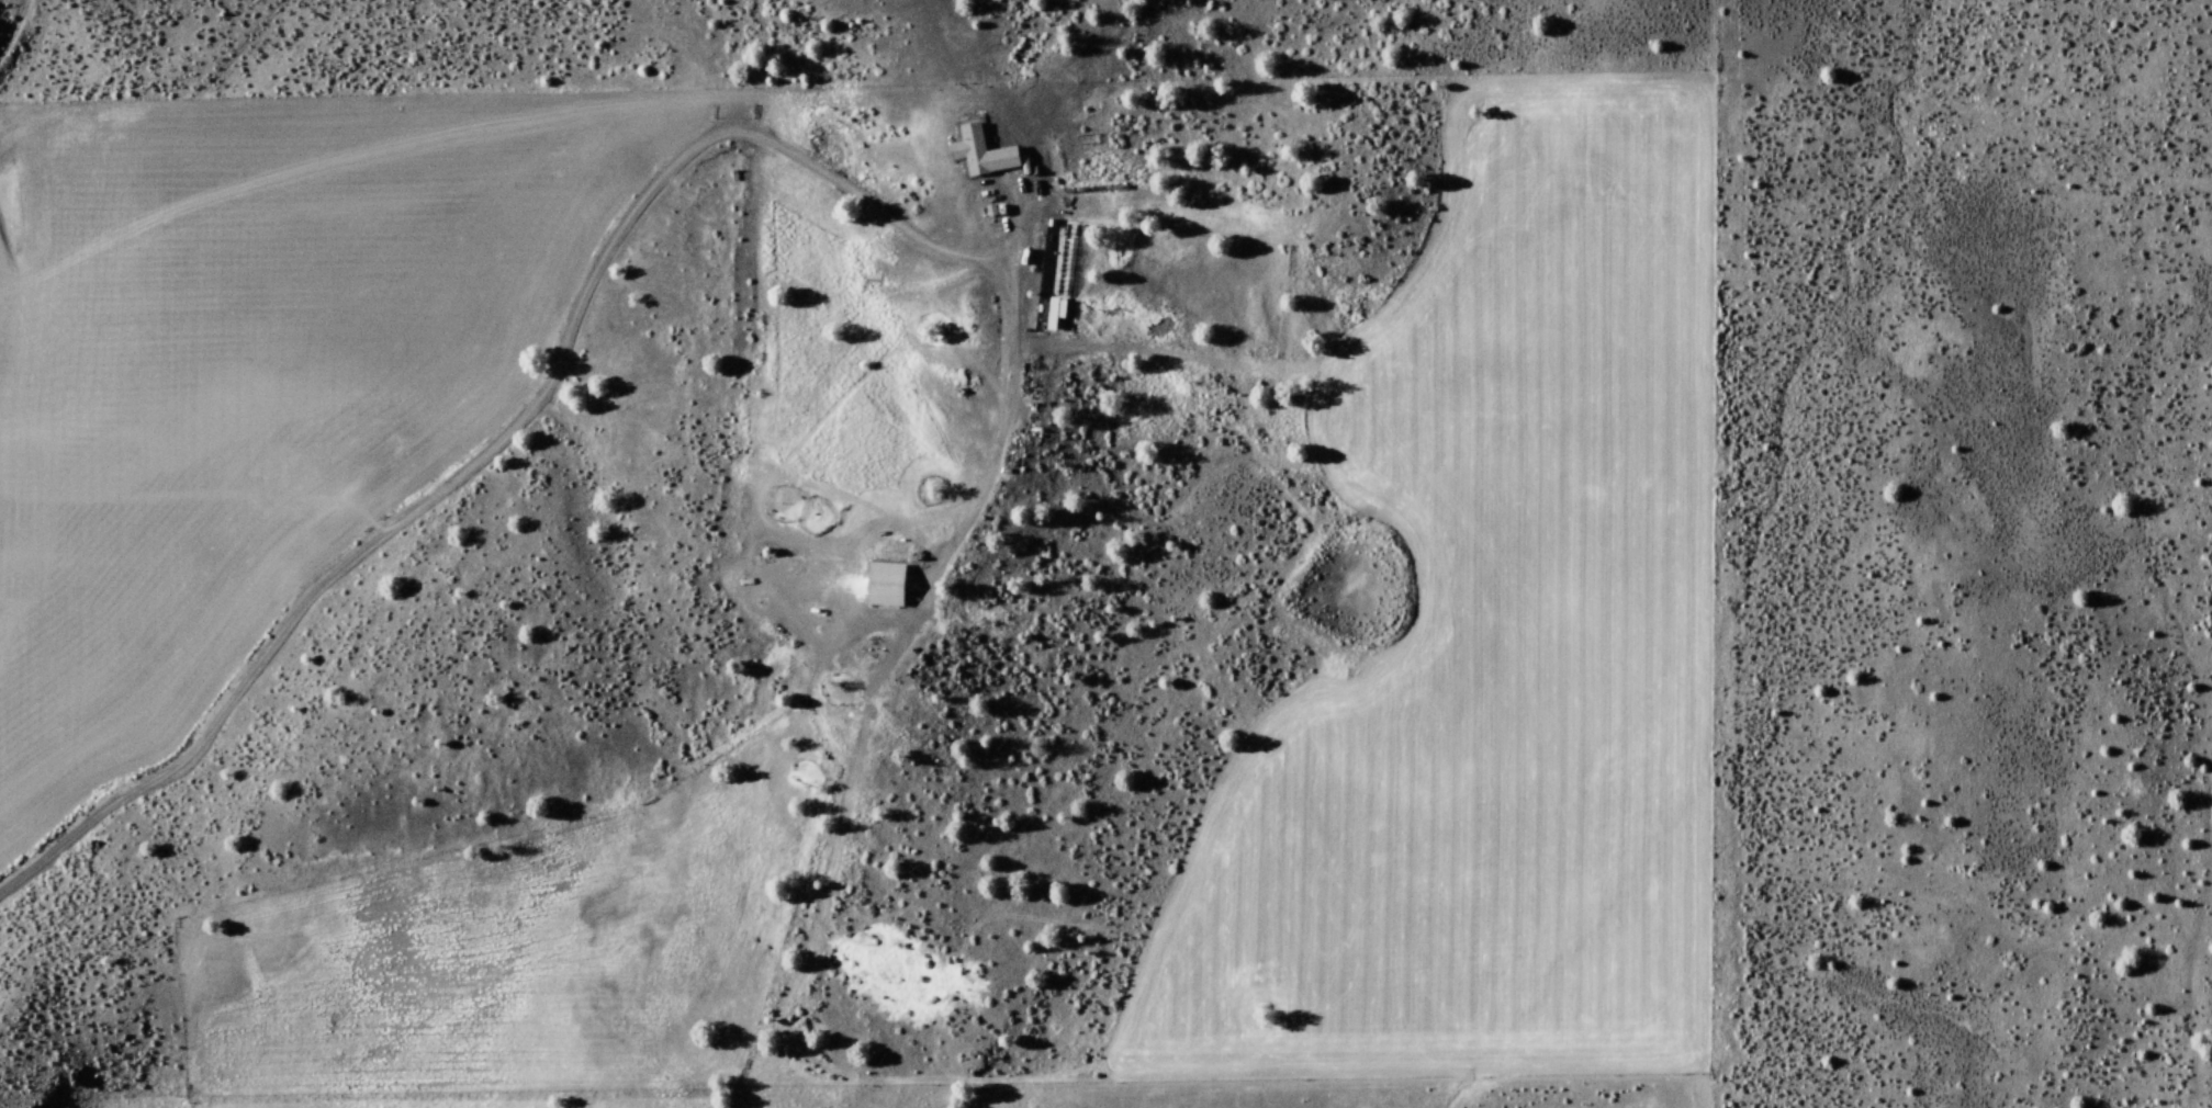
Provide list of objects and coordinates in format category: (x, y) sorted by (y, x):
building: (980, 152)
building: (1055, 312)
building: (885, 585)

